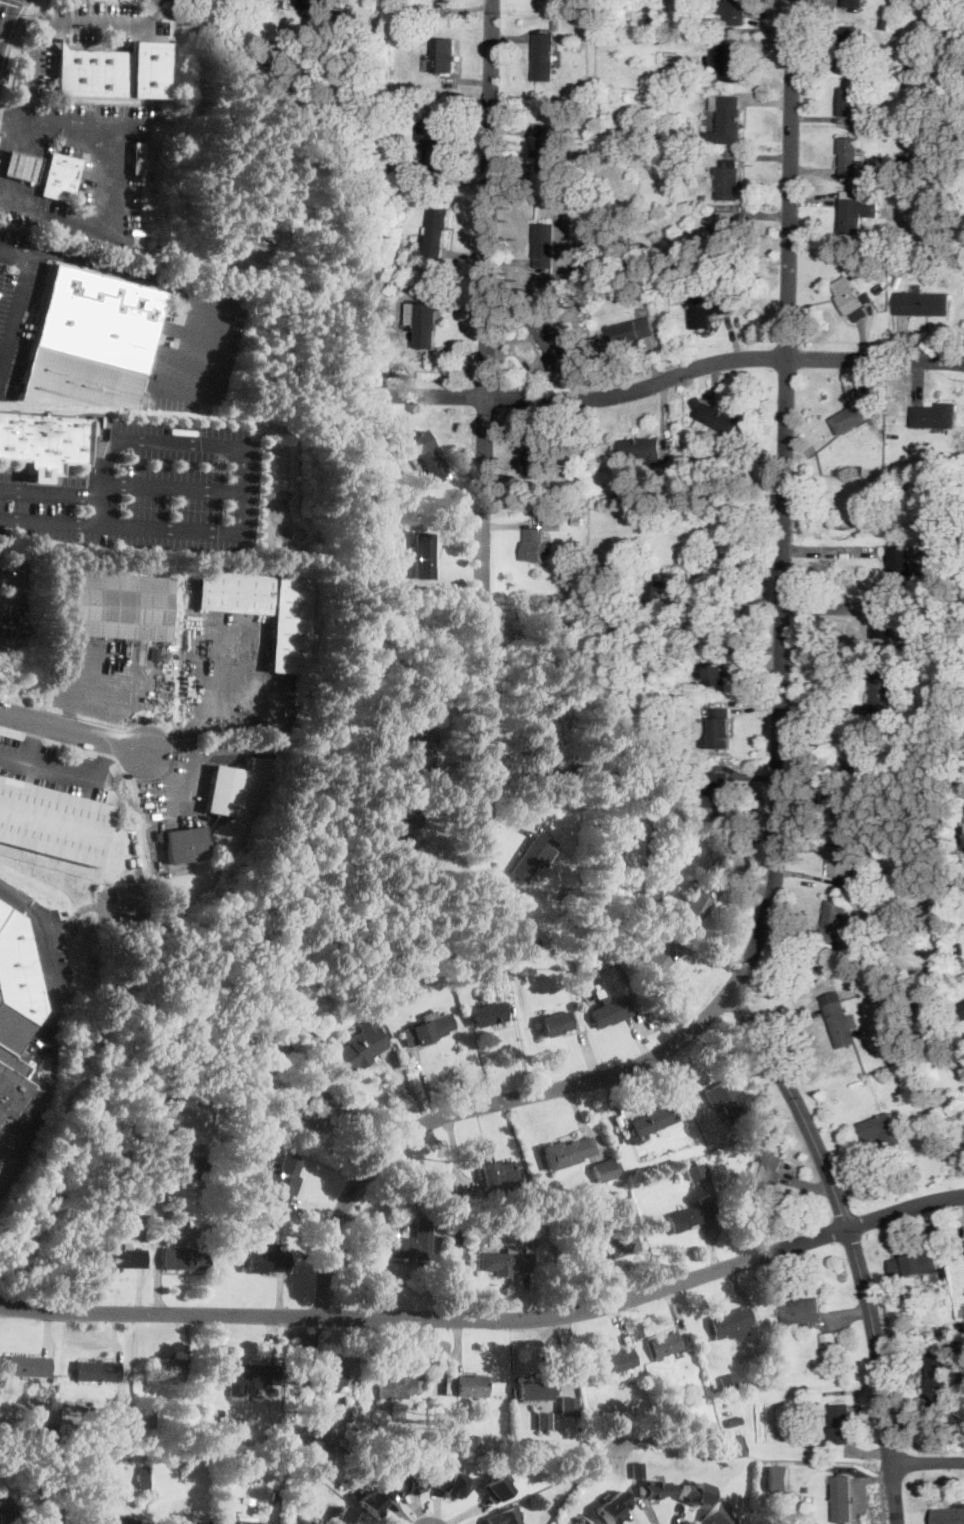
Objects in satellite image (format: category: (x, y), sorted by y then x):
road: (71, 0)
road: (28, 1)
road: (31, 1)
building: (283, 3)
building: (853, 3)
building: (315, 4)
building: (346, 12)
building: (734, 12)
road: (10, 15)
building: (648, 19)
parking lot: (104, 21)
building: (883, 23)
building: (555, 24)
building: (933, 32)
building: (592, 35)
building: (665, 38)
road: (10, 39)
road: (17, 46)
building: (852, 46)
building: (444, 55)
building: (544, 57)
road: (33, 58)
building: (730, 62)
parking lot: (36, 66)
building: (145, 68)
building: (90, 72)
building: (677, 77)
building: (402, 90)
building: (851, 100)
building: (924, 102)
road: (11, 115)
parking lot: (96, 119)
building: (726, 120)
building: (434, 138)
road: (6, 139)
building: (676, 139)
building: (547, 149)
building: (850, 156)
building: (136, 157)
building: (902, 162)
building: (730, 163)
building: (20, 167)
gas station: (20, 167)
building: (412, 169)
building: (60, 177)
building: (728, 182)
building: (144, 188)
building: (702, 197)
building: (919, 198)
building: (855, 211)
road: (96, 226)
building: (727, 231)
building: (435, 233)
building: (544, 245)
building: (687, 249)
building: (909, 252)
building: (922, 252)
building: (719, 264)
building: (580, 273)
road: (160, 282)
building: (880, 288)
building: (851, 298)
road: (19, 302)
building: (922, 303)
parking lot: (14, 305)
building: (708, 310)
building: (424, 324)
building: (631, 331)
building: (548, 334)
building: (89, 340)
parking lot: (199, 350)
road: (672, 376)
road: (484, 410)
building: (938, 415)
building: (716, 416)
building: (851, 418)
building: (44, 443)
road: (237, 443)
building: (640, 447)
building: (427, 454)
building: (535, 457)
road: (11, 467)
road: (168, 486)
parking lot: (142, 490)
road: (50, 493)
building: (618, 495)
road: (49, 519)
building: (578, 519)
building: (553, 524)
building: (536, 546)
road: (829, 549)
building: (424, 556)
parking lot: (0, 559)
building: (902, 561)
building: (609, 563)
building: (395, 584)
building: (658, 590)
parking lot: (12, 602)
road: (734, 602)
building: (113, 605)
building: (264, 610)
building: (901, 613)
building: (883, 622)
building: (194, 649)
building: (154, 652)
building: (719, 675)
parking lot: (107, 678)
parking lot: (233, 682)
building: (882, 693)
building: (665, 710)
building: (908, 711)
building: (938, 713)
building: (718, 729)
road: (74, 730)
road: (32, 742)
building: (423, 748)
building: (275, 749)
building: (534, 750)
building: (860, 752)
road: (110, 763)
parking lot: (55, 768)
road: (53, 770)
building: (561, 775)
road: (778, 785)
building: (224, 791)
building: (714, 792)
building: (852, 809)
building: (52, 823)
building: (406, 828)
building: (184, 844)
building: (653, 846)
building: (720, 851)
building: (211, 854)
building: (533, 857)
building: (842, 864)
building: (649, 891)
building: (563, 892)
building: (694, 909)
building: (900, 912)
building: (835, 923)
building: (857, 938)
building: (533, 942)
building: (422, 954)
building: (957, 954)
building: (661, 956)
building: (861, 958)
building: (570, 966)
building: (591, 972)
building: (871, 987)
building: (961, 1007)
building: (15, 1008)
building: (609, 1012)
building: (936, 1012)
building: (487, 1014)
building: (857, 1019)
building: (555, 1023)
building: (840, 1024)
building: (428, 1028)
building: (306, 1032)
building: (357, 1048)
building: (279, 1050)
building: (954, 1097)
building: (677, 1102)
building: (728, 1102)
building: (681, 1107)
building: (309, 1118)
building: (653, 1120)
building: (882, 1130)
building: (623, 1150)
building: (566, 1152)
building: (724, 1152)
building: (196, 1169)
building: (604, 1170)
building: (695, 1170)
building: (497, 1173)
building: (147, 1175)
building: (764, 1178)
building: (282, 1180)
building: (405, 1187)
building: (465, 1195)
building: (546, 1201)
building: (97, 1206)
road: (905, 1210)
building: (552, 1214)
building: (691, 1215)
building: (513, 1235)
building: (485, 1237)
building: (453, 1238)
building: (471, 1238)
building: (605, 1245)
road: (852, 1245)
building: (405, 1246)
building: (221, 1247)
building: (123, 1257)
building: (184, 1258)
building: (267, 1260)
building: (505, 1262)
building: (913, 1265)
building: (939, 1295)
building: (803, 1311)
road: (430, 1318)
building: (731, 1322)
building: (955, 1324)
building: (942, 1326)
building: (946, 1334)
building: (952, 1342)
building: (666, 1344)
building: (829, 1349)
building: (614, 1363)
building: (27, 1366)
building: (172, 1370)
building: (97, 1371)
building: (318, 1374)
building: (655, 1375)
building: (251, 1377)
building: (727, 1382)
building: (466, 1386)
building: (938, 1386)
building: (394, 1387)
building: (533, 1390)
building: (136, 1395)
building: (566, 1404)
building: (219, 1413)
building: (145, 1419)
building: (541, 1420)
building: (733, 1422)
building: (840, 1423)
building: (48, 1430)
building: (118, 1434)
building: (271, 1434)
building: (319, 1440)
building: (461, 1440)
building: (474, 1440)
building: (408, 1442)
building: (398, 1443)
building: (737, 1446)
building: (582, 1448)
building: (160, 1456)
road: (927, 1463)
building: (72, 1464)
building: (95, 1464)
building: (637, 1470)
building: (142, 1477)
building: (778, 1478)
building: (411, 1482)
building: (451, 1485)
building: (495, 1489)
building: (653, 1489)
building: (694, 1494)
building: (274, 1495)
building: (842, 1498)
building: (373, 1500)
building: (613, 1508)
building: (5, 1512)
building: (346, 1516)
building: (504, 1516)
building: (718, 1516)
building: (948, 1516)
building: (183, 1518)
building: (57, 1519)
building: (121, 1519)
building: (322, 1520)
building: (247, 1522)
building: (579, 1523)
building: (589, 1523)

